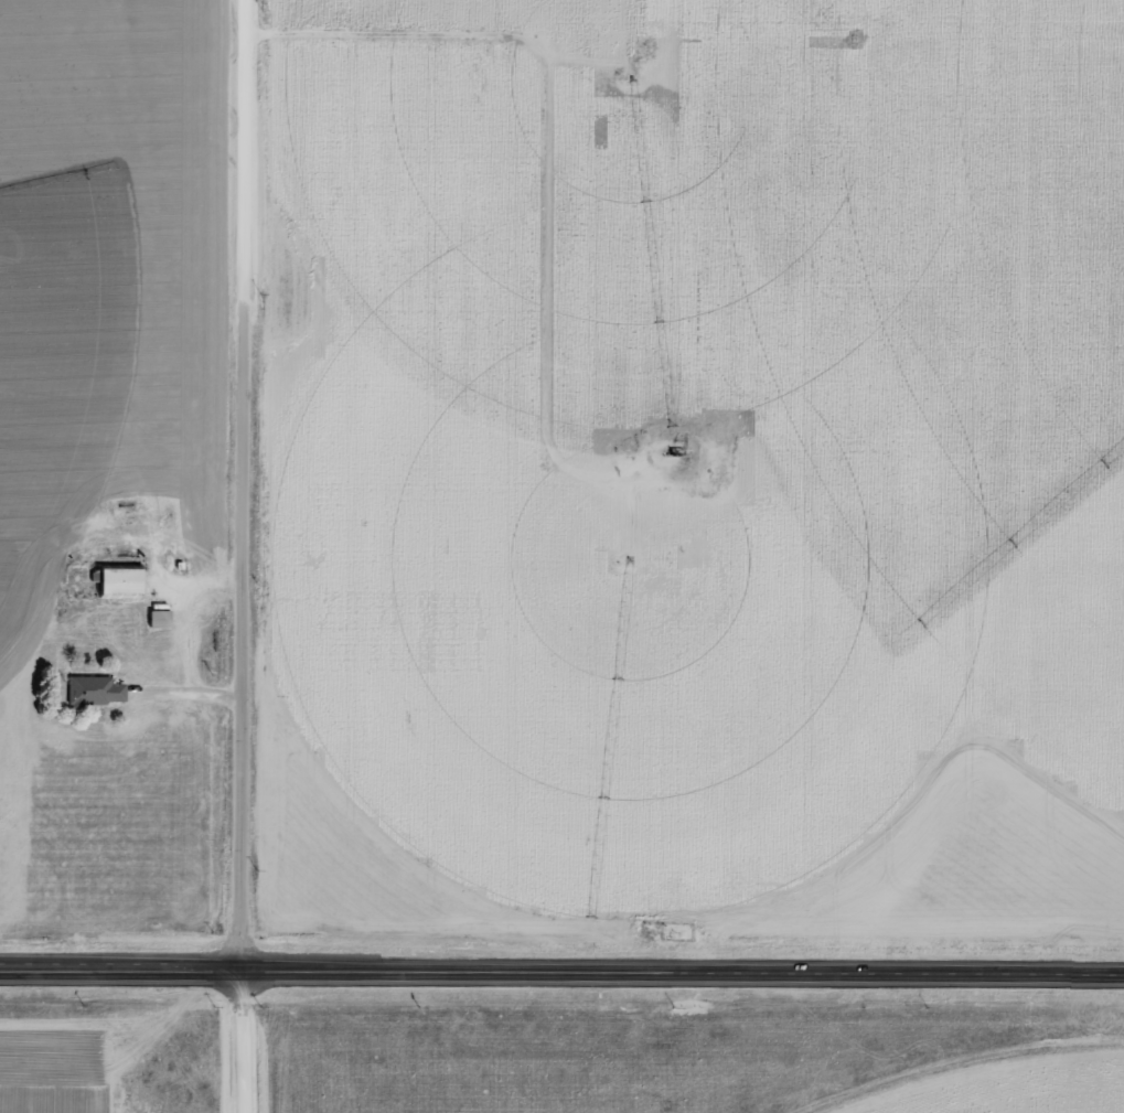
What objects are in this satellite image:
petroleum well: (679, 456)
road: (256, 556)
building: (95, 688)
road: (561, 976)

